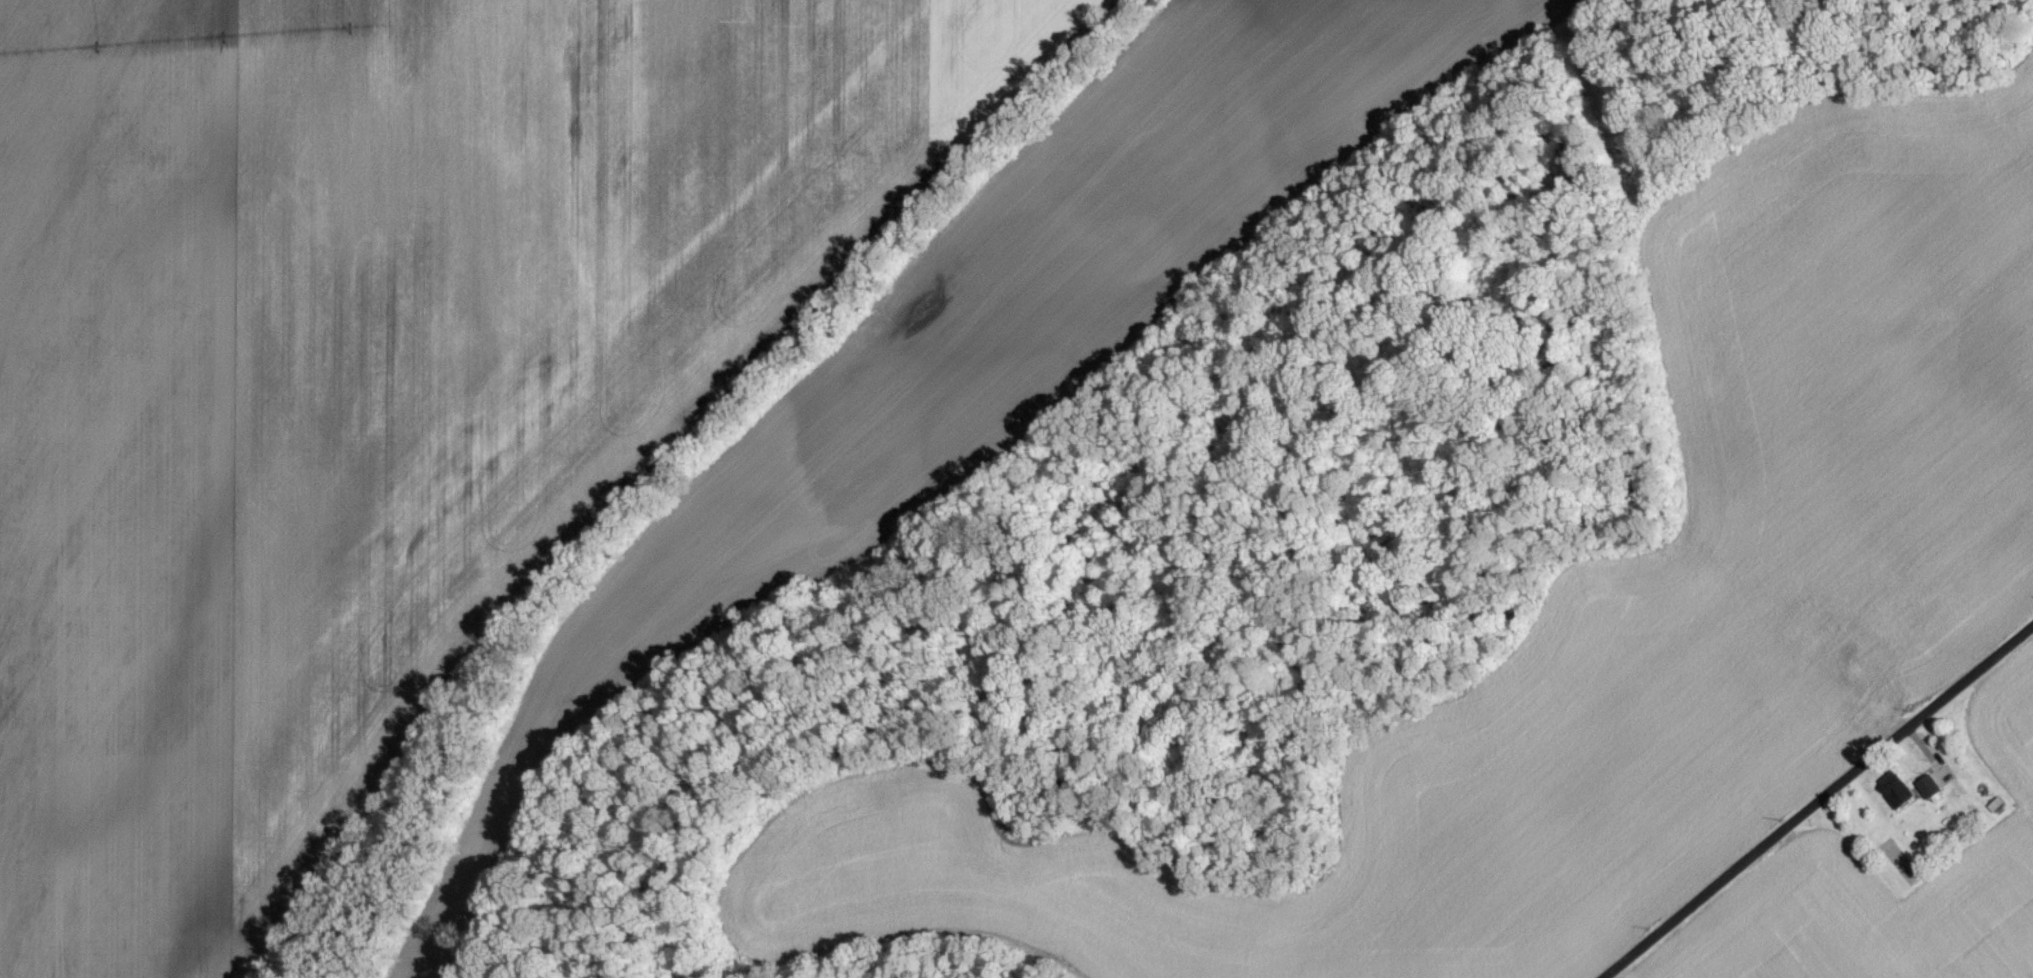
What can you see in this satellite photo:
building: (1879, 696)
building: (1930, 794)
building: (1896, 798)
road: (1831, 812)
building: (1996, 812)
road: (903, 960)

